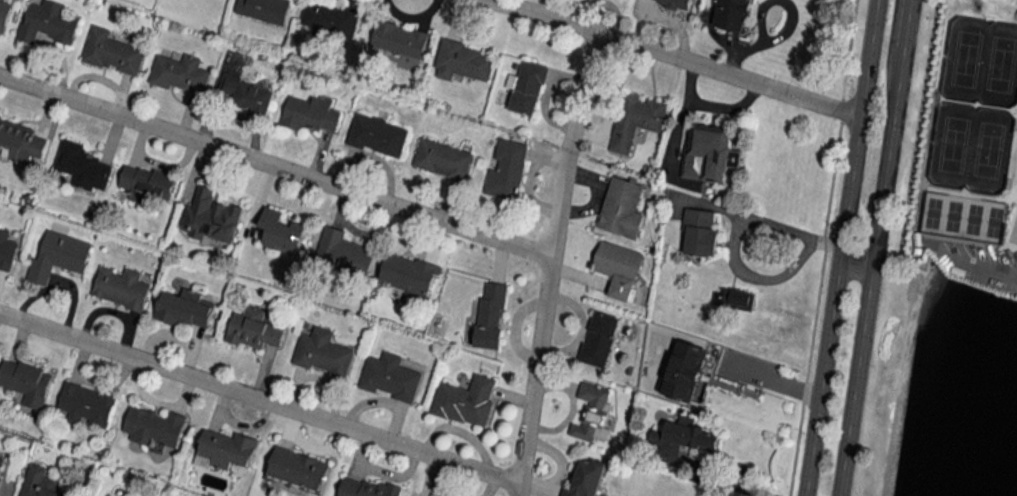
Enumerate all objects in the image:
building: (673, 3)
building: (264, 10)
building: (4, 13)
building: (731, 14)
building: (330, 19)
road: (872, 21)
building: (48, 22)
road: (905, 23)
building: (399, 39)
road: (844, 48)
building: (112, 53)
road: (677, 55)
building: (463, 62)
building: (181, 73)
building: (527, 87)
building: (248, 94)
park: (956, 97)
park: (988, 102)
road: (837, 108)
park: (1012, 110)
building: (311, 113)
building: (636, 120)
building: (377, 135)
building: (20, 141)
building: (709, 153)
building: (443, 159)
road: (274, 163)
building: (82, 166)
building: (507, 170)
building: (146, 183)
park: (944, 189)
park: (975, 193)
park: (1006, 199)
building: (621, 208)
building: (211, 216)
road: (753, 219)
building: (281, 232)
building: (699, 233)
building: (7, 250)
building: (59, 255)
building: (343, 255)
road: (547, 261)
road: (985, 267)
building: (619, 268)
road: (835, 268)
road: (852, 270)
road: (869, 271)
building: (409, 274)
building: (120, 288)
building: (733, 298)
road: (814, 308)
building: (184, 309)
building: (491, 315)
building: (254, 329)
building: (599, 339)
building: (322, 353)
building: (683, 370)
building: (390, 377)
building: (26, 381)
road: (258, 400)
building: (466, 401)
building: (86, 405)
building: (592, 413)
building: (153, 428)
building: (681, 439)
building: (225, 450)
building: (1, 464)
building: (297, 469)
building: (586, 479)
building: (39, 482)
building: (365, 488)

